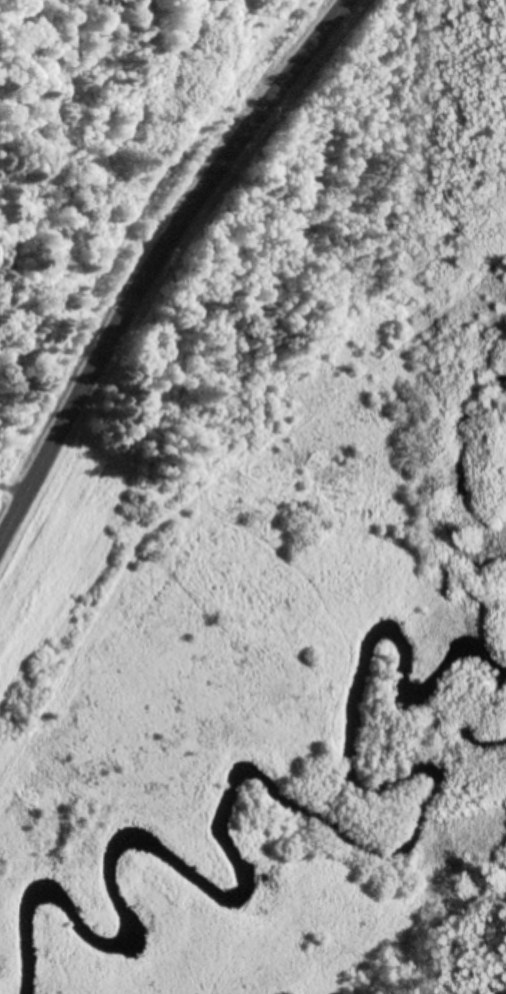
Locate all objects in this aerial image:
road: (155, 259)

